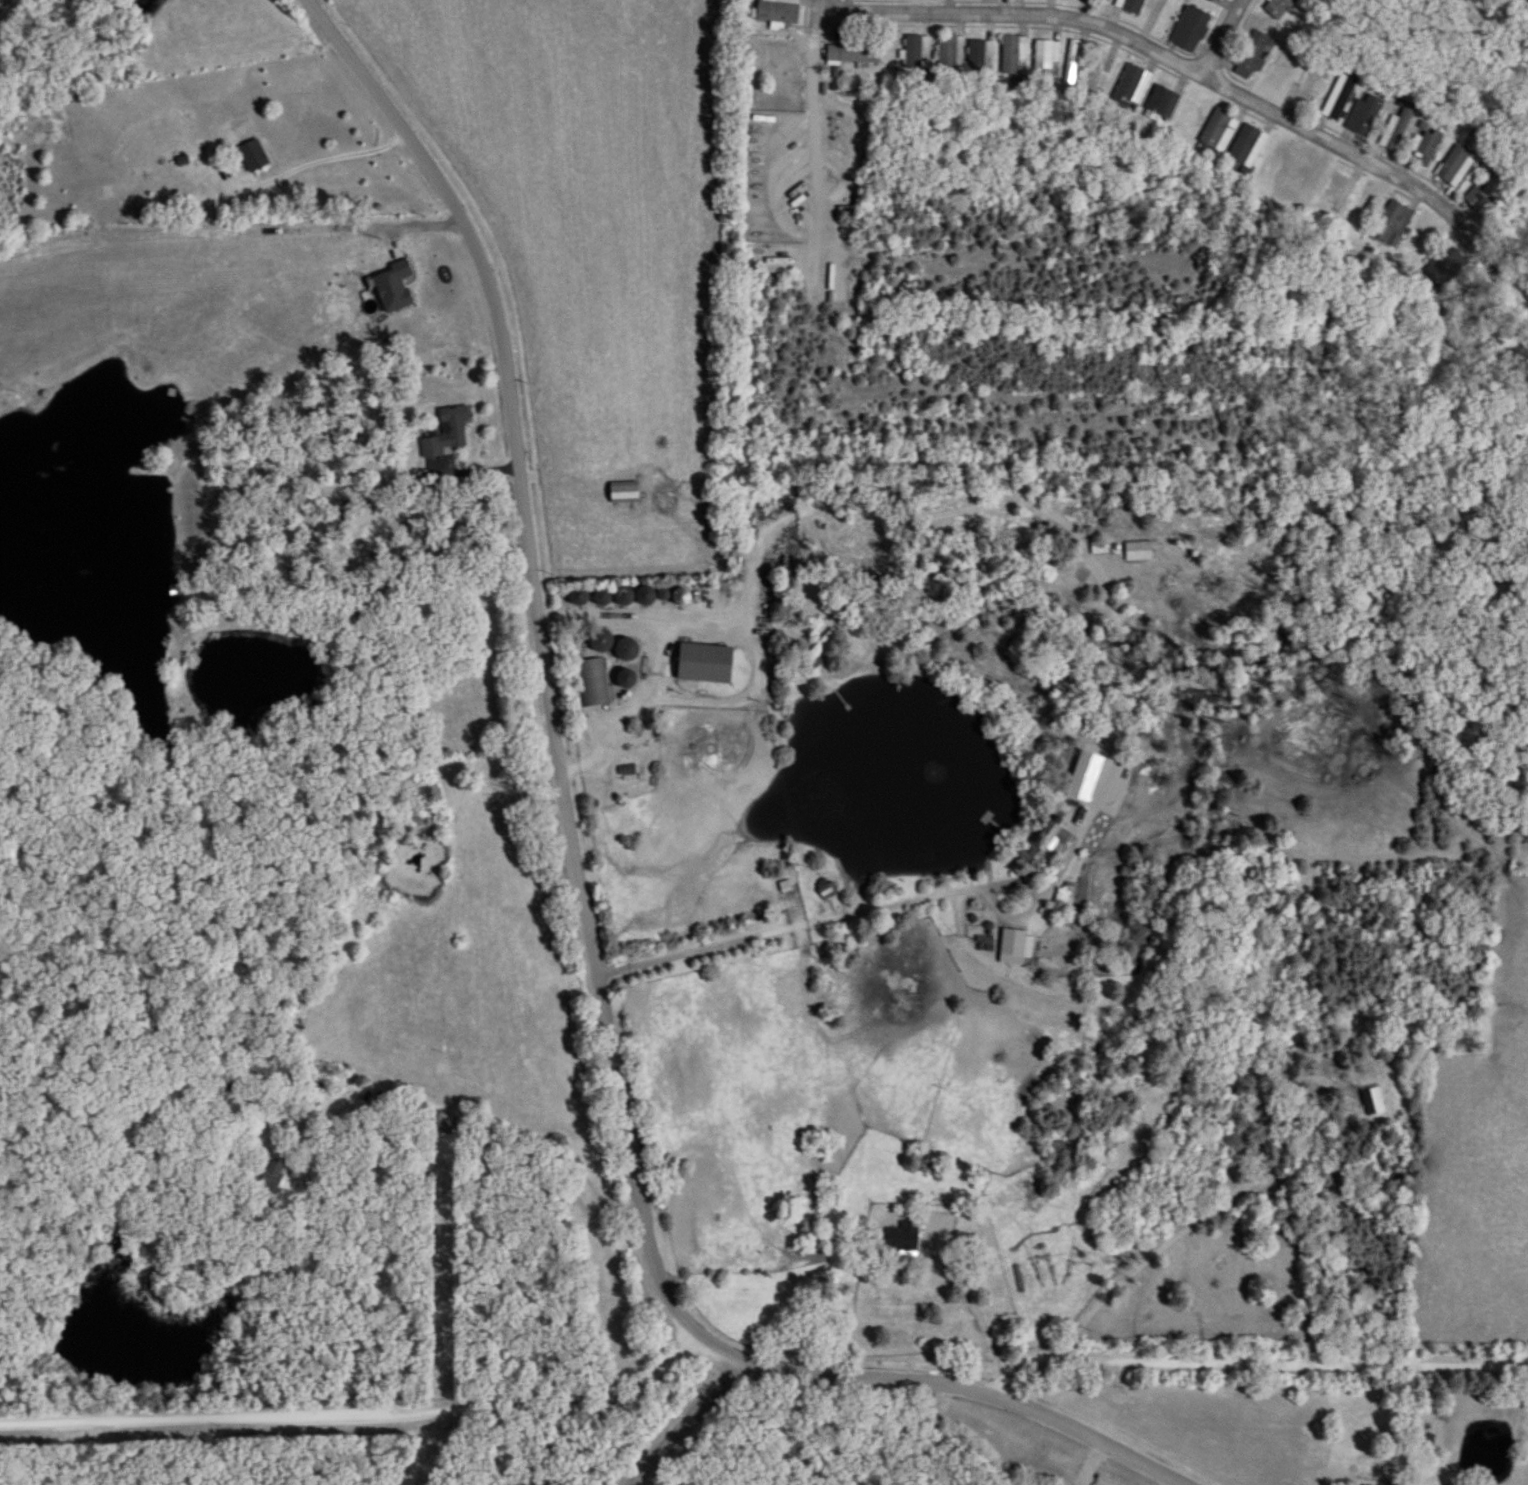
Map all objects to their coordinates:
building: (1107, 0)
road: (818, 5)
building: (1131, 5)
building: (1279, 6)
building: (778, 12)
building: (1190, 28)
road: (1221, 35)
building: (917, 50)
building: (952, 51)
building: (853, 52)
building: (981, 52)
road: (1168, 53)
building: (1014, 54)
building: (1047, 54)
building: (1254, 54)
building: (1076, 58)
building: (1133, 84)
building: (1306, 86)
building: (1339, 97)
building: (1158, 101)
building: (1365, 114)
building: (1397, 128)
building: (1218, 129)
building: (1245, 144)
building: (1427, 145)
road: (820, 152)
building: (253, 154)
road: (314, 159)
building: (1455, 165)
building: (1340, 188)
building: (1486, 193)
building: (188, 196)
building: (1392, 223)
building: (1446, 266)
road: (1499, 273)
building: (448, 432)
building: (623, 493)
building: (1099, 547)
building: (1139, 551)
building: (181, 590)
building: (624, 597)
building: (601, 640)
building: (821, 649)
road: (655, 659)
building: (702, 662)
building: (592, 682)
road: (1114, 700)
road: (740, 701)
road: (1324, 705)
building: (1045, 848)
building: (827, 889)
road: (583, 907)
building: (1013, 946)
building: (1373, 1099)
building: (1057, 1142)
road: (581, 1213)
building: (901, 1237)
road: (1090, 1239)
building: (821, 1243)
road: (1116, 1290)
road: (974, 1305)
road: (1291, 1364)
road: (362, 1413)
road: (686, 1423)
road: (1092, 1464)

